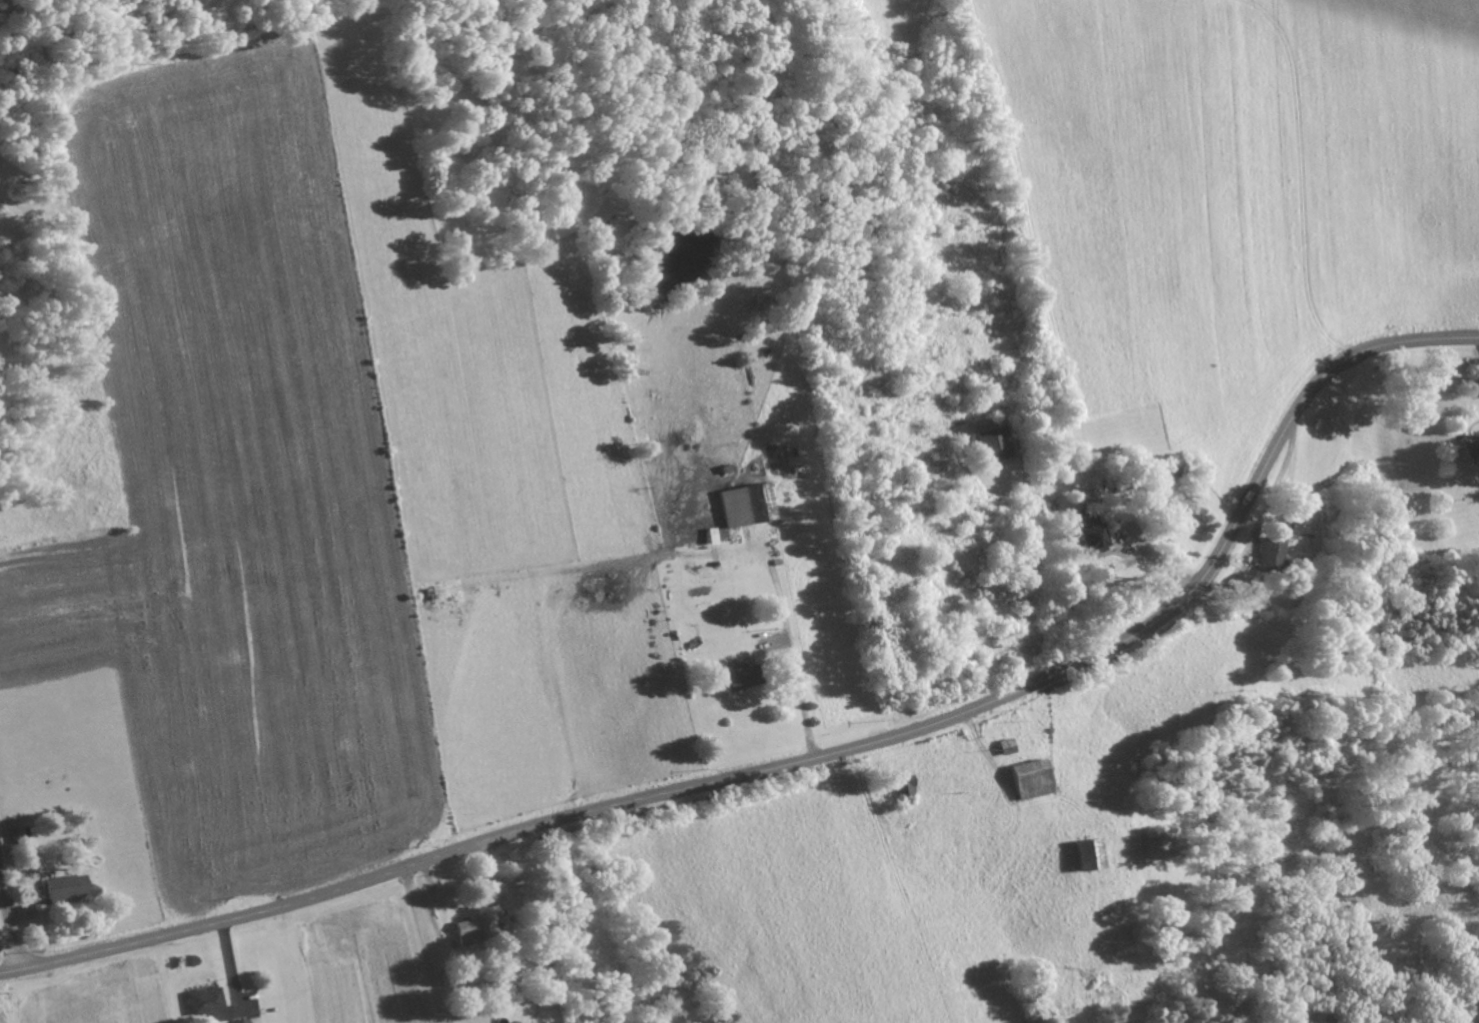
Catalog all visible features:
road: (928, 350)
building: (995, 443)
building: (1468, 448)
crop: (236, 497)
building: (745, 506)
building: (1092, 533)
building: (1272, 556)
road: (785, 646)
building: (743, 678)
road: (809, 760)
building: (1034, 779)
building: (1091, 853)
building: (66, 888)
building: (469, 930)
road: (9, 931)
building: (206, 1003)

